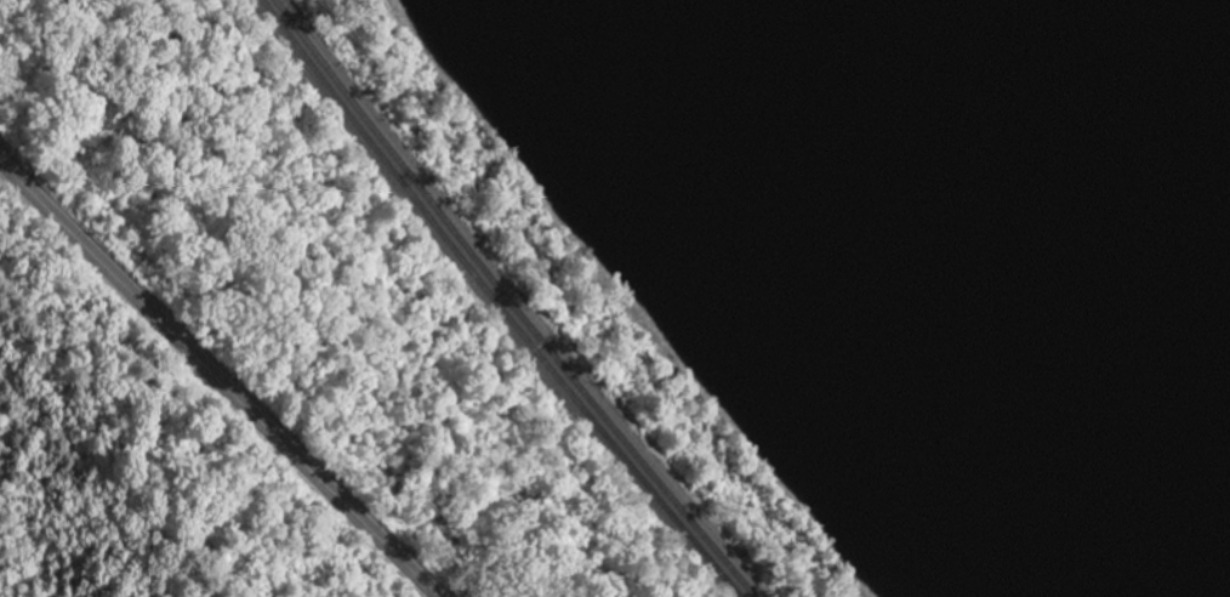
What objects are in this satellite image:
river: (1198, 39)
railway: (496, 303)
railway: (513, 303)
road: (217, 381)

